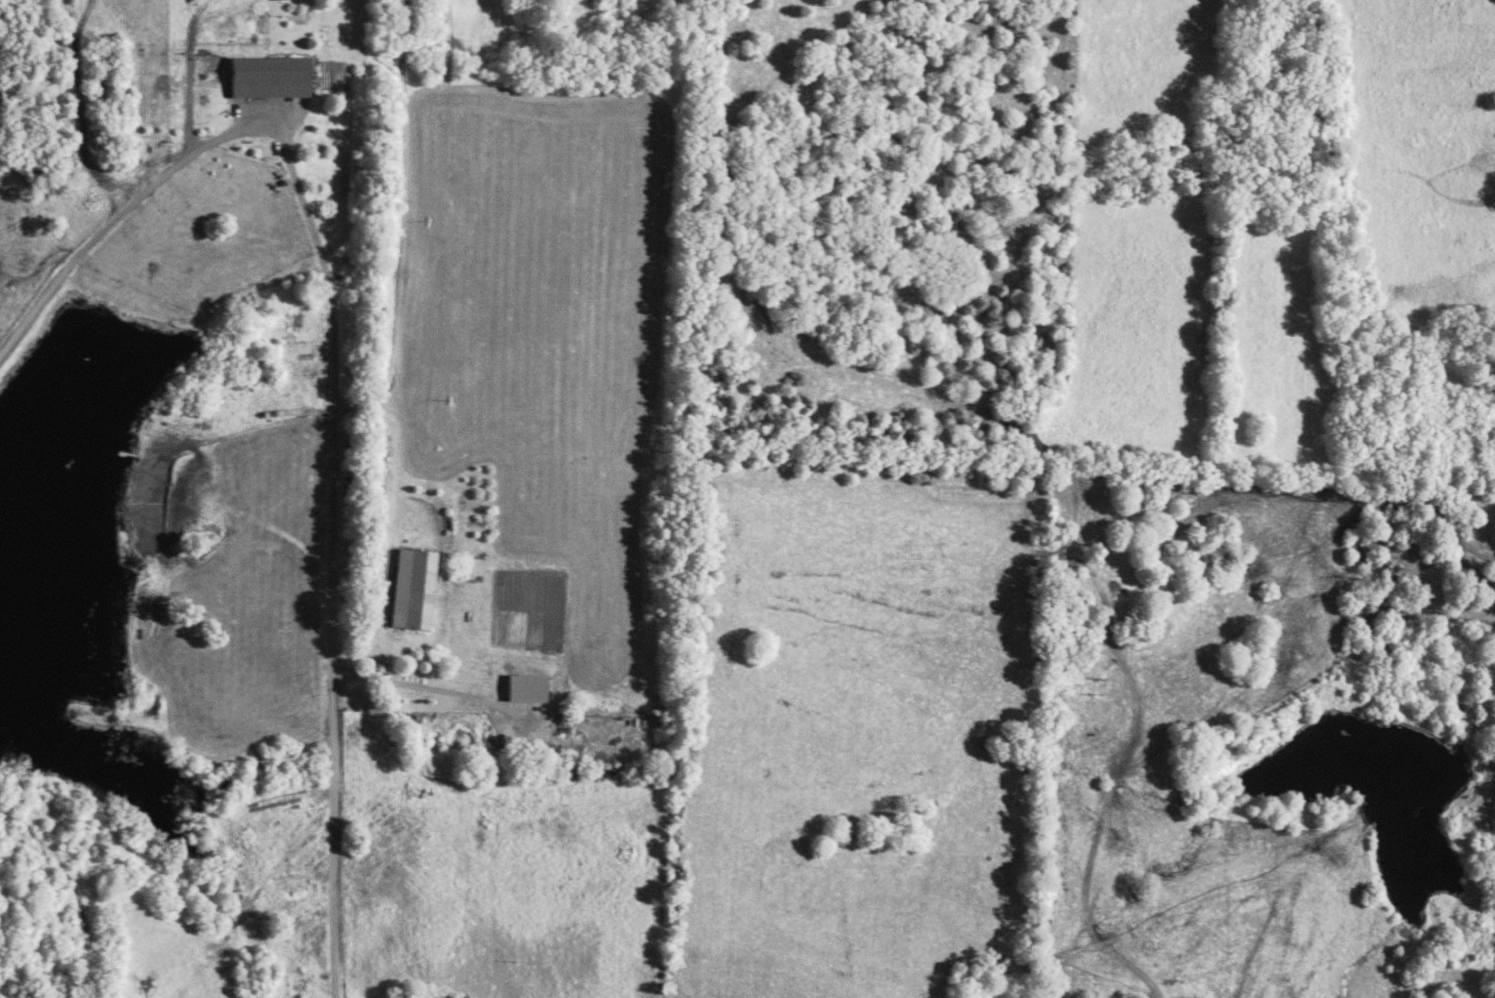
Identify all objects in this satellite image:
building: (280, 0)
building: (273, 76)
road: (336, 549)
building: (415, 589)
road: (419, 688)
building: (530, 688)

